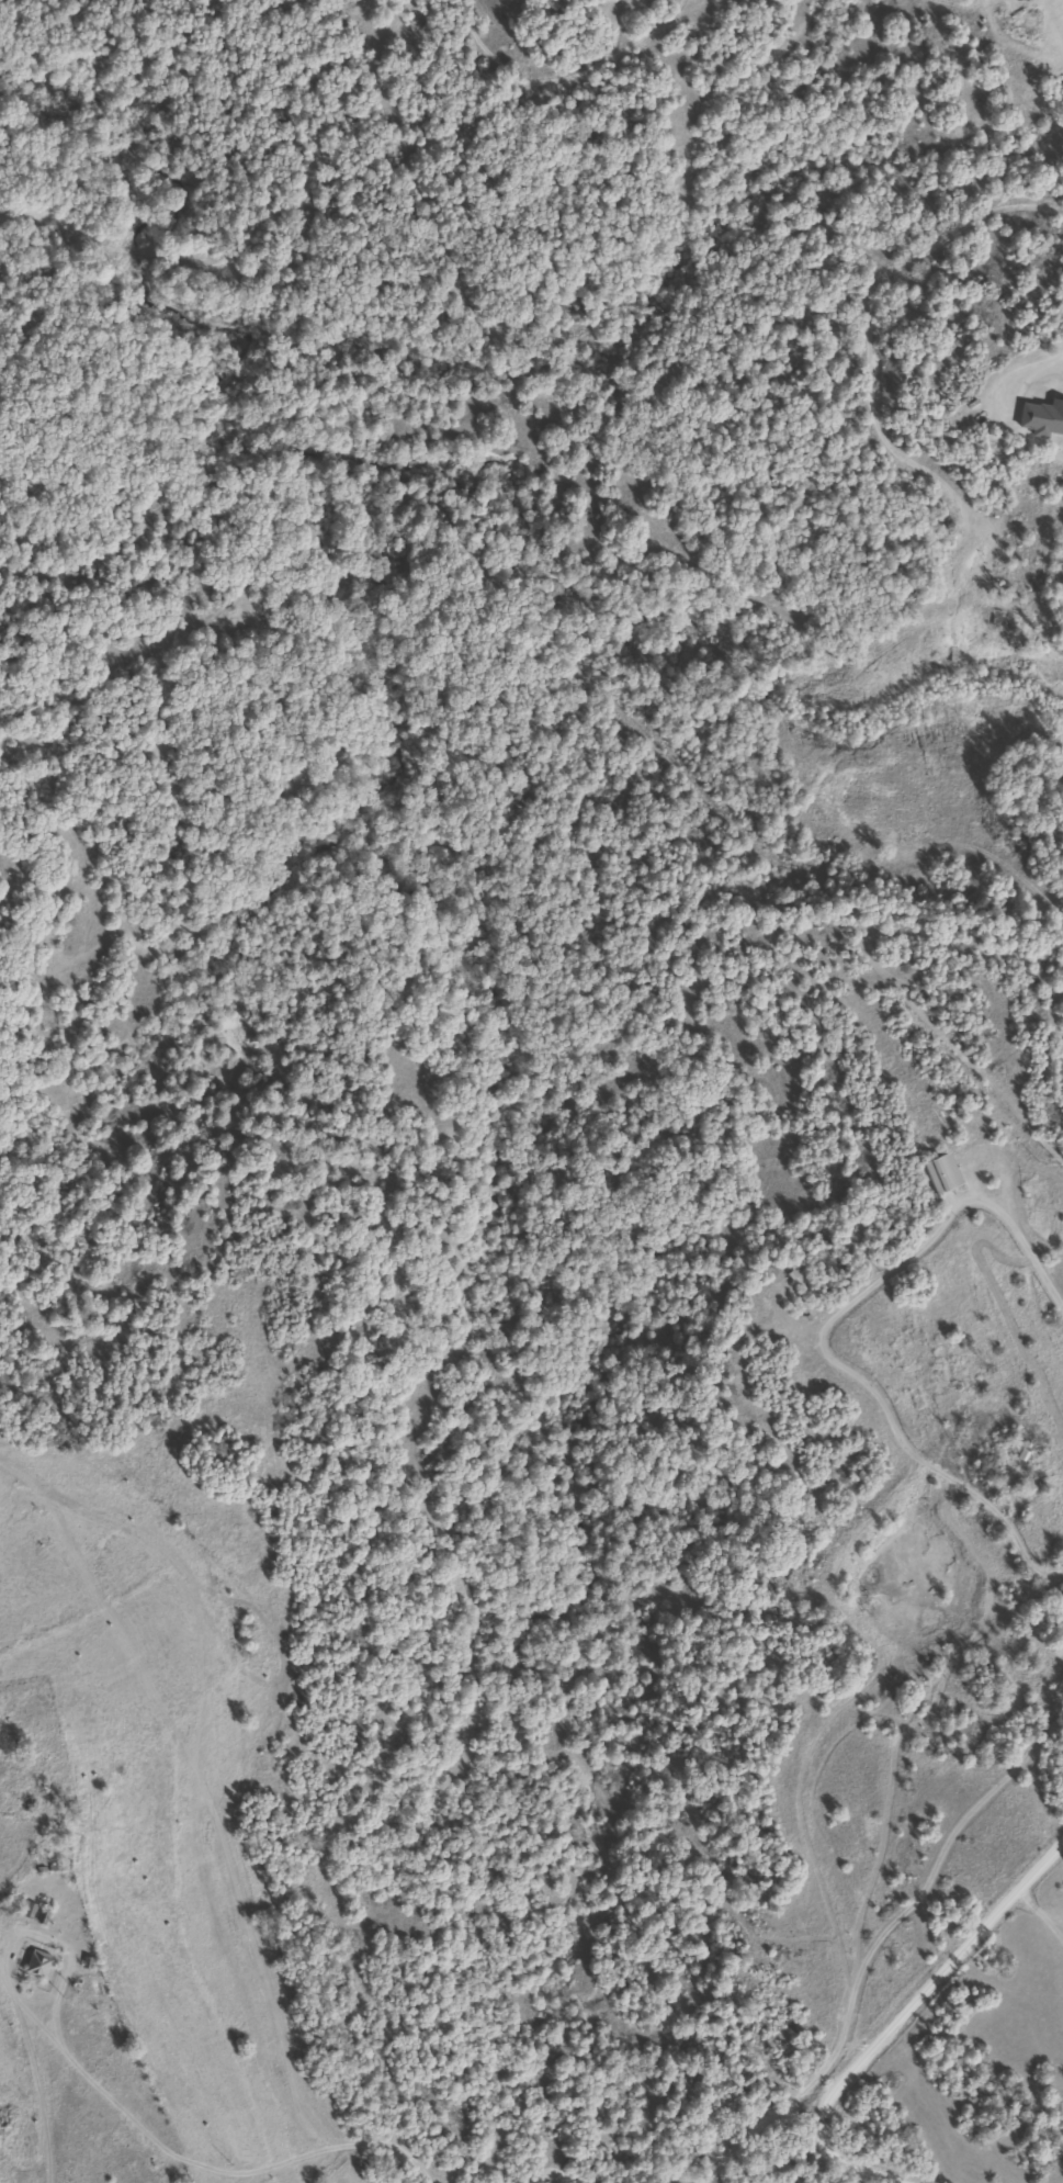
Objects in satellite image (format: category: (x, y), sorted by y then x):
building: (941, 1172)
building: (36, 1965)
road: (885, 2019)
road: (59, 2035)

